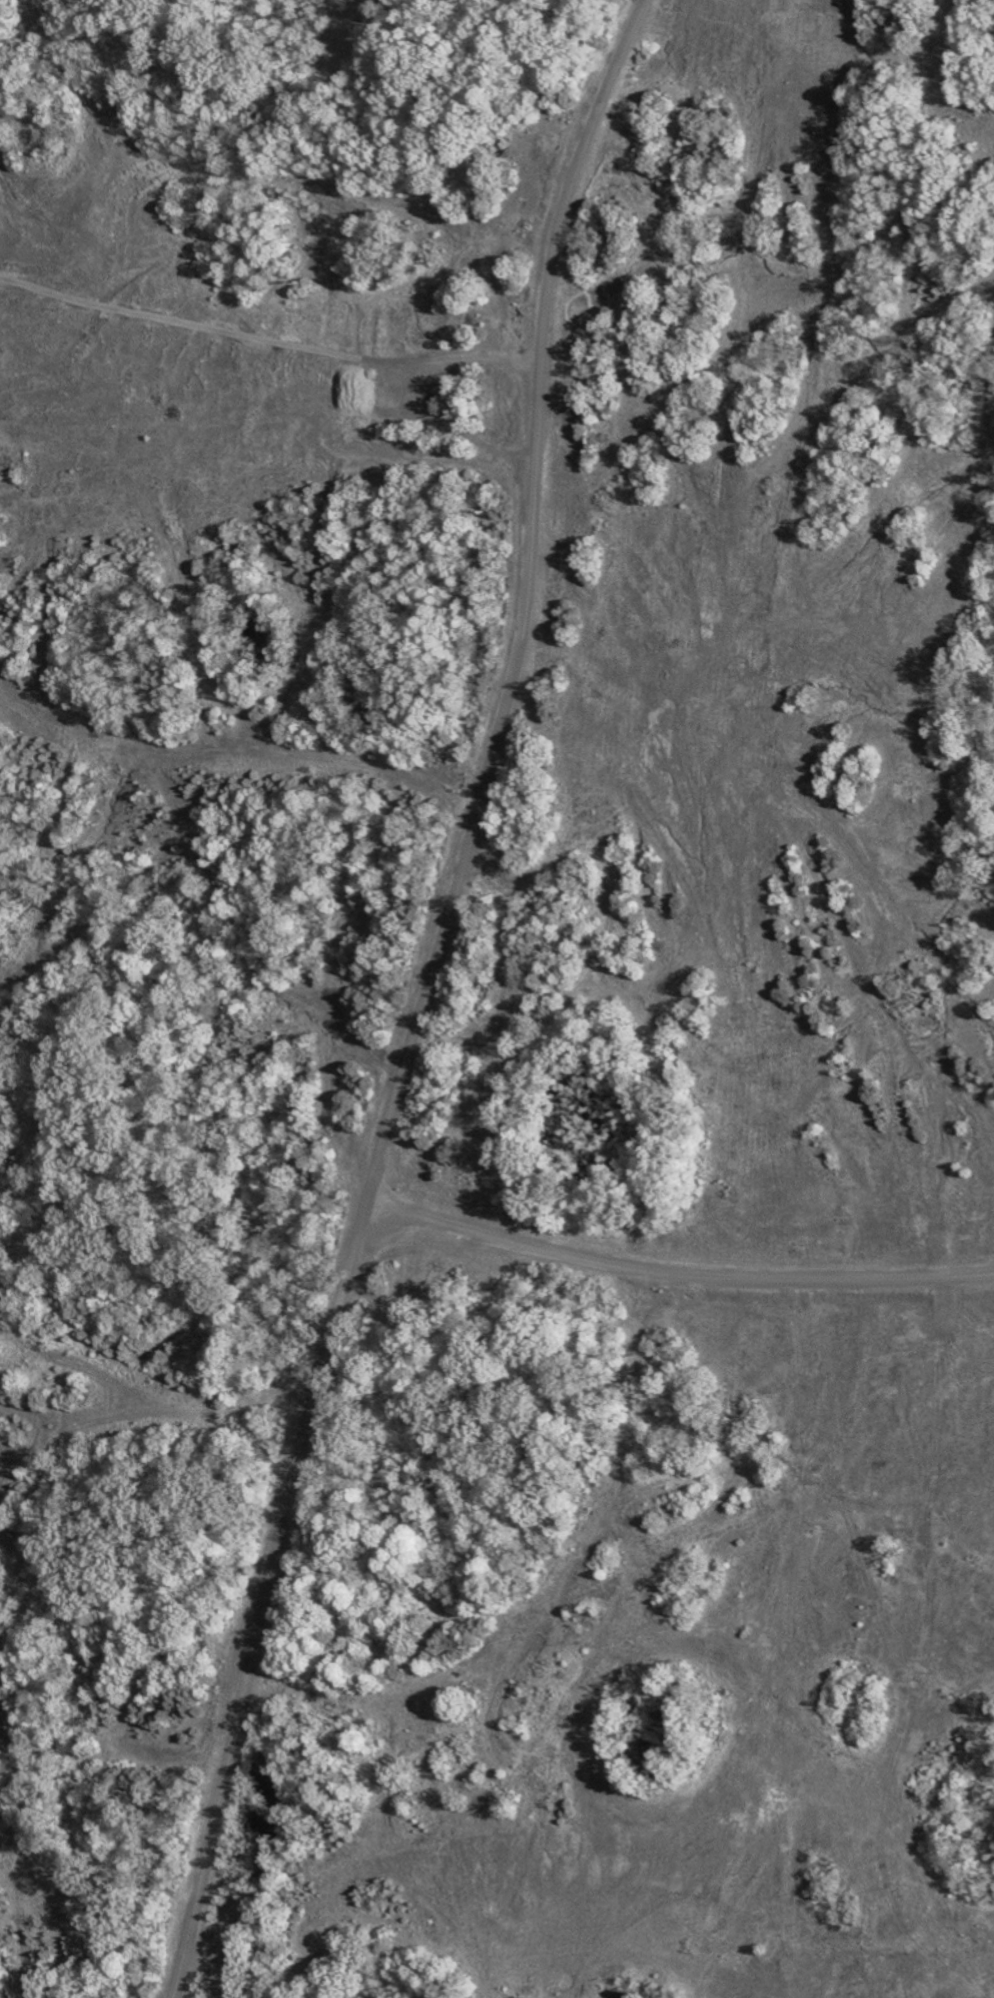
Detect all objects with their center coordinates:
road: (426, 394)
road: (424, 998)
road: (677, 1272)

